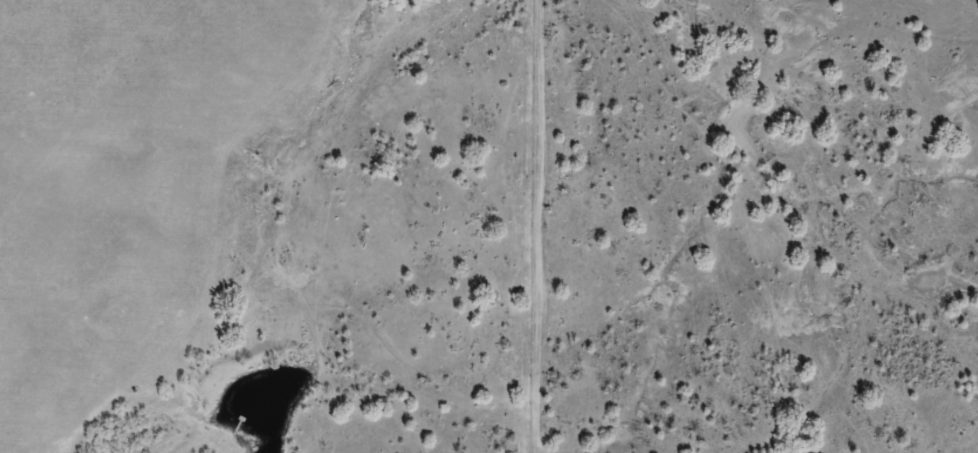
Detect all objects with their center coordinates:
road: (352, 331)
road: (0, 452)

